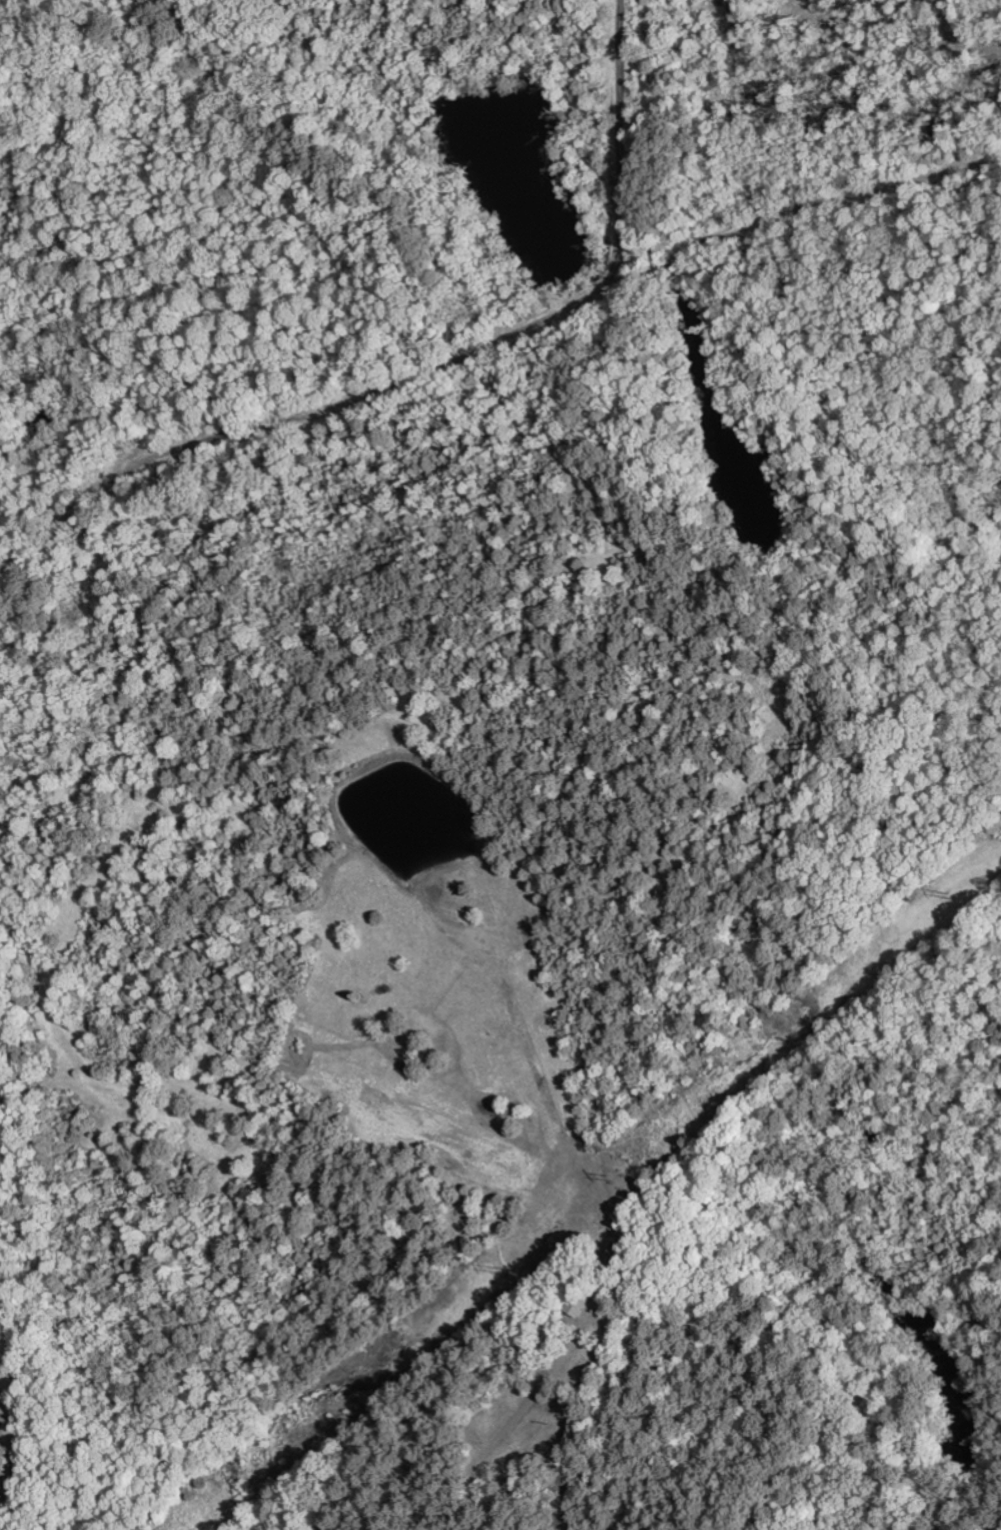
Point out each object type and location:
road: (699, 1465)
road: (919, 1486)

